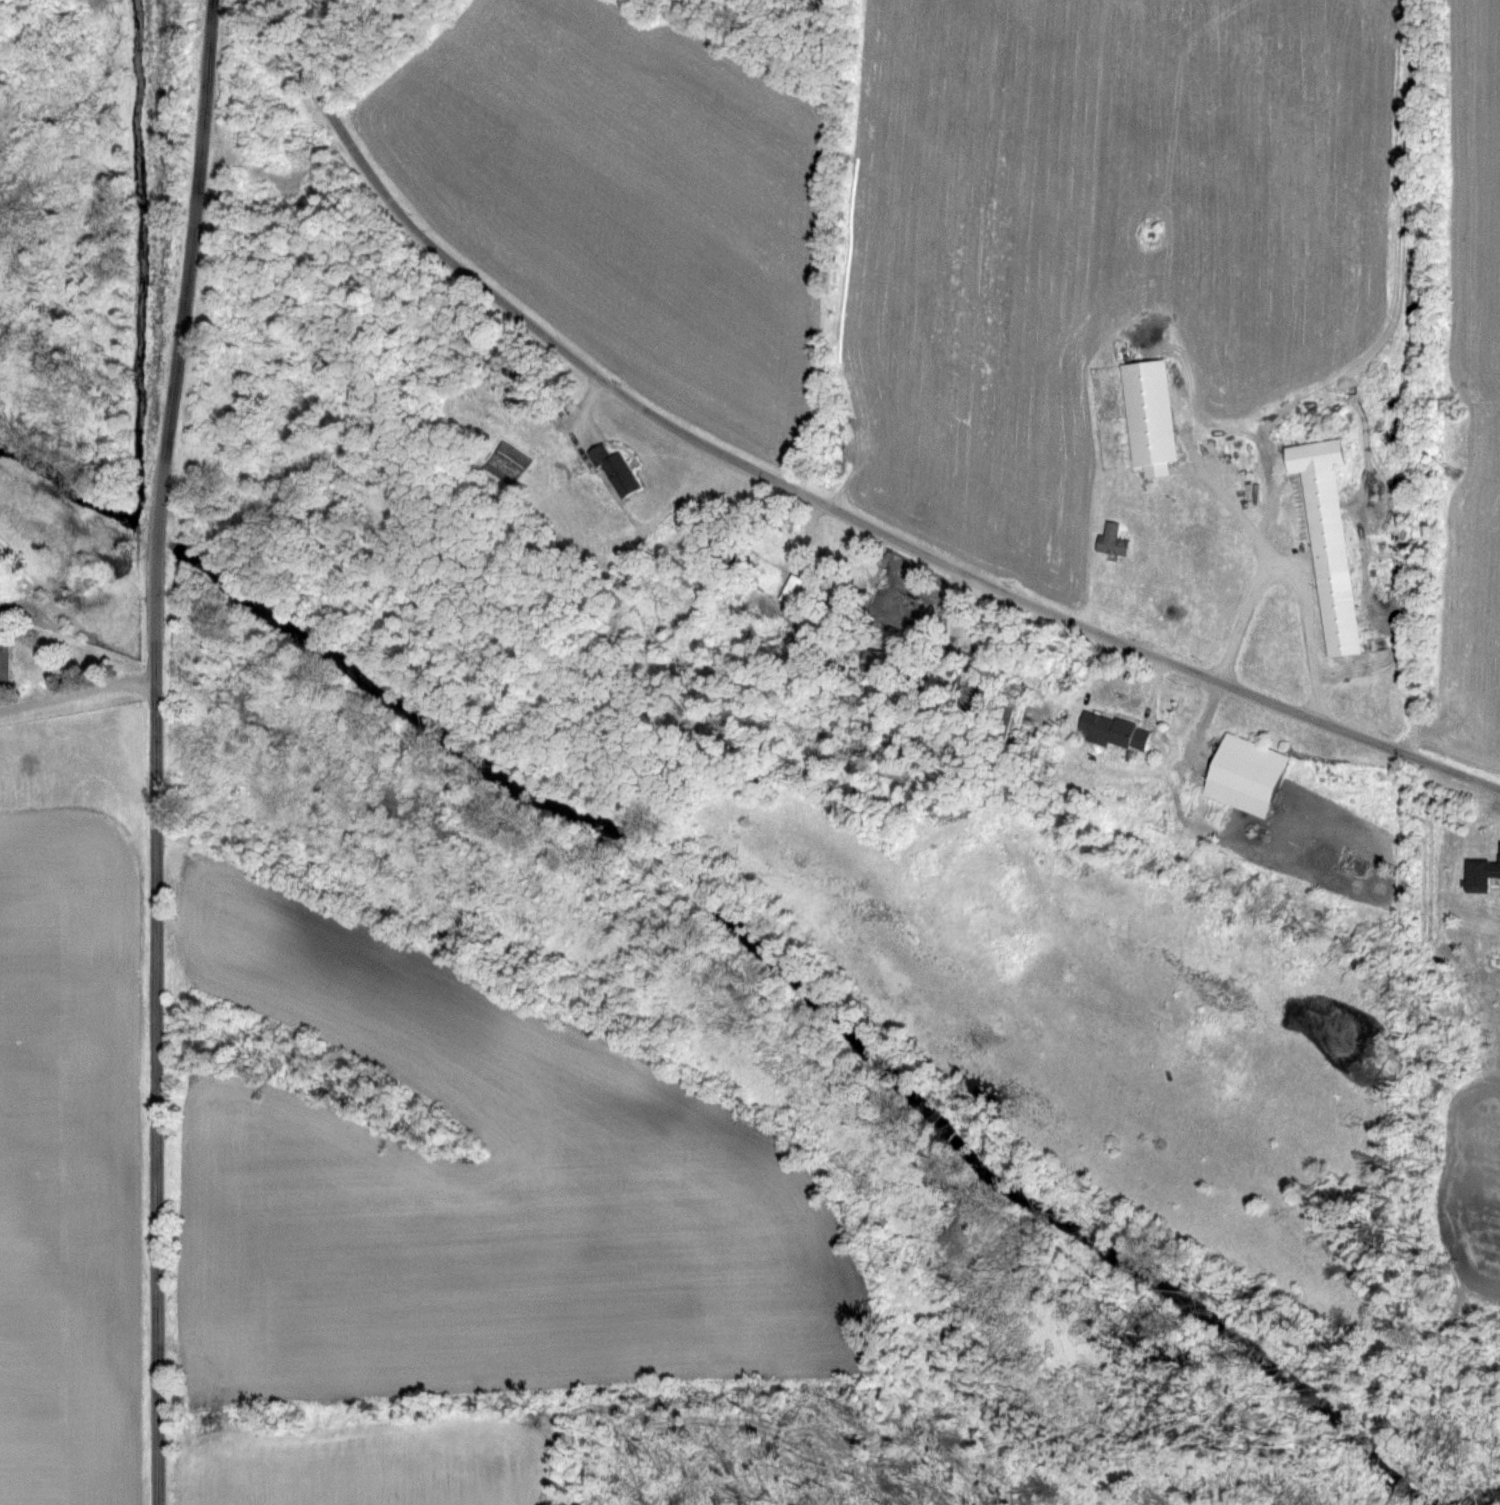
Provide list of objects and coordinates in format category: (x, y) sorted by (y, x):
building: (1146, 416)
building: (612, 470)
road: (807, 496)
building: (1108, 540)
building: (1324, 542)
building: (871, 660)
building: (3, 661)
building: (1110, 731)
road: (154, 750)
building: (1241, 775)
building: (1479, 873)

